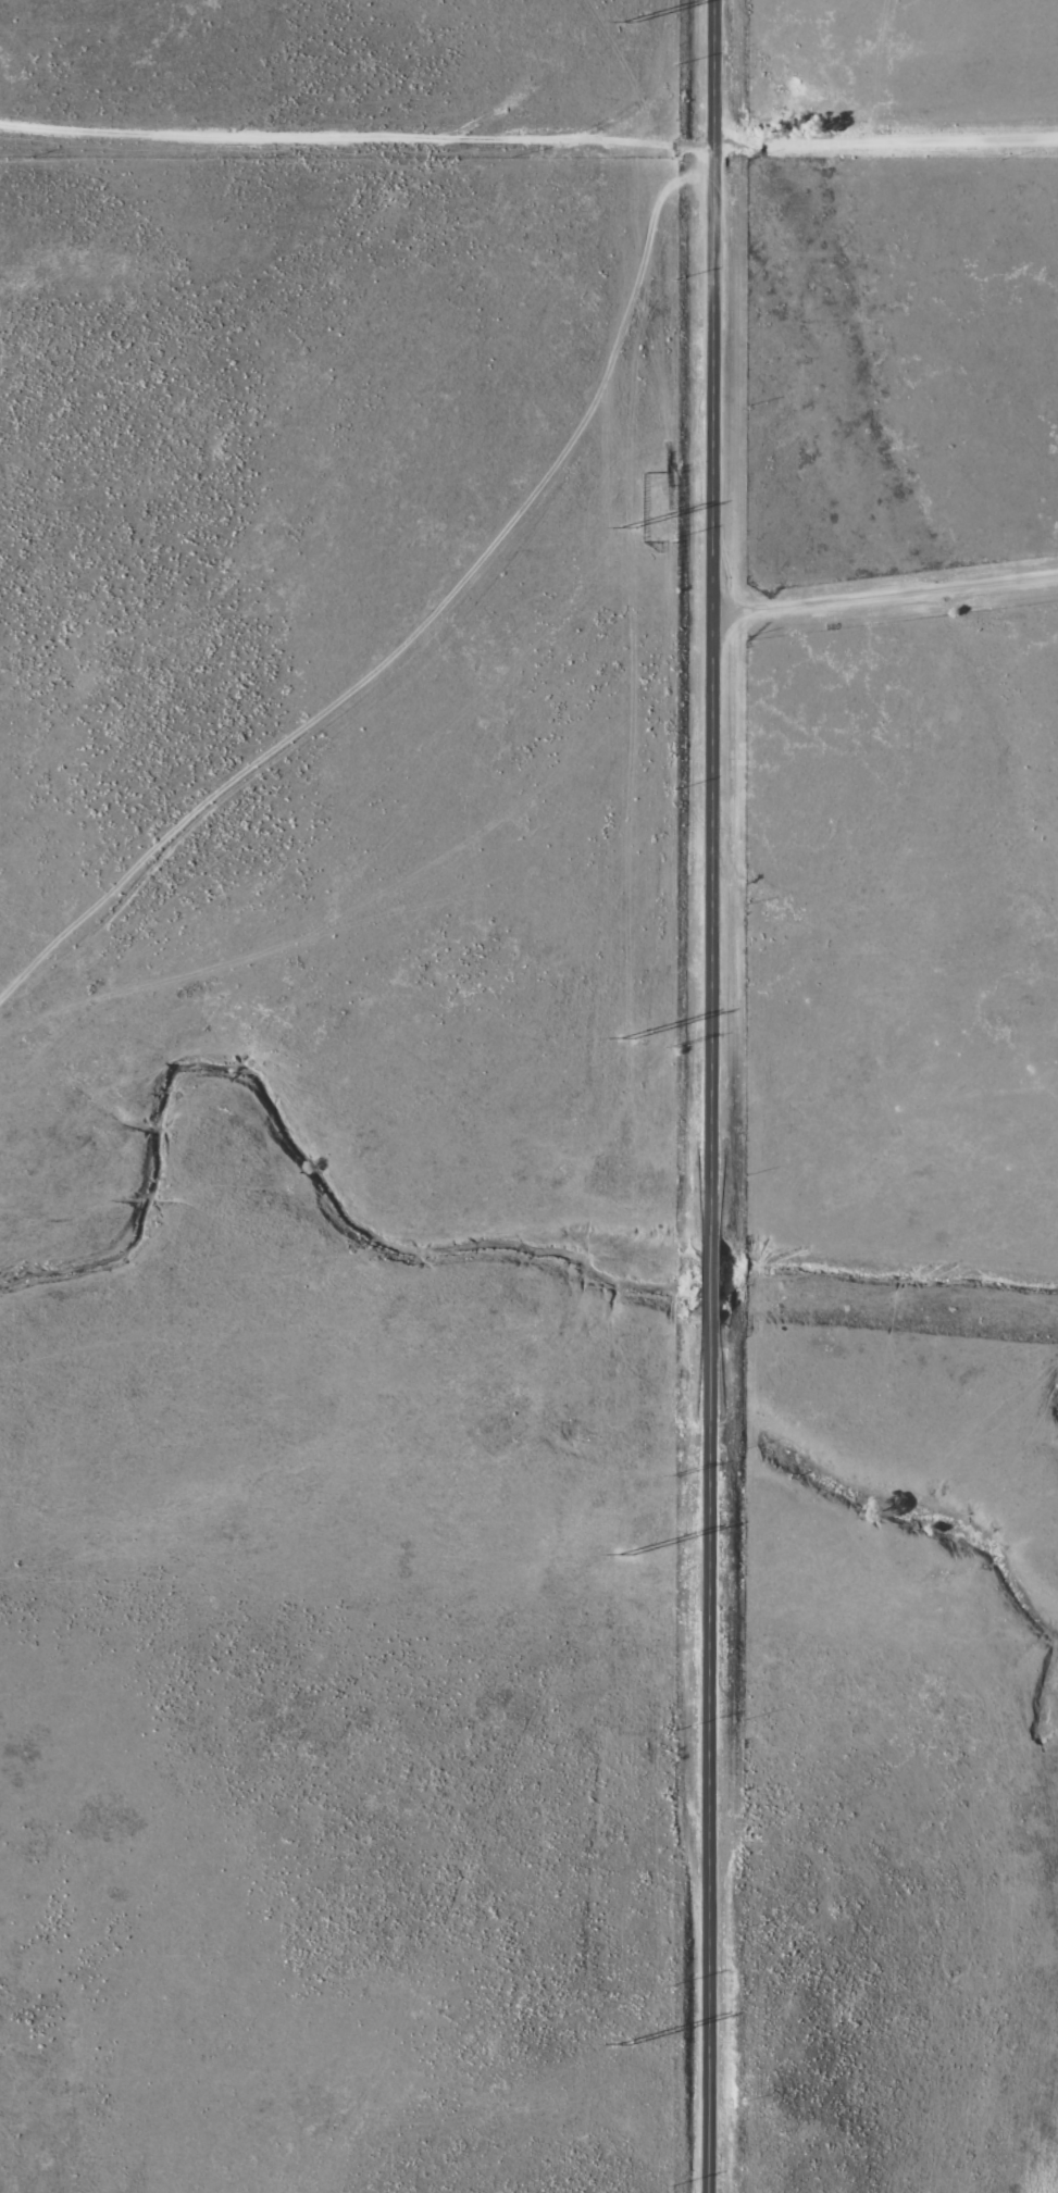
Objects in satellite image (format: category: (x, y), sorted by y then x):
power tower: (628, 23)
power tower: (626, 525)
road: (886, 595)
power tower: (623, 1038)
road: (714, 1096)
power tower: (623, 1557)
power tower: (622, 2044)

